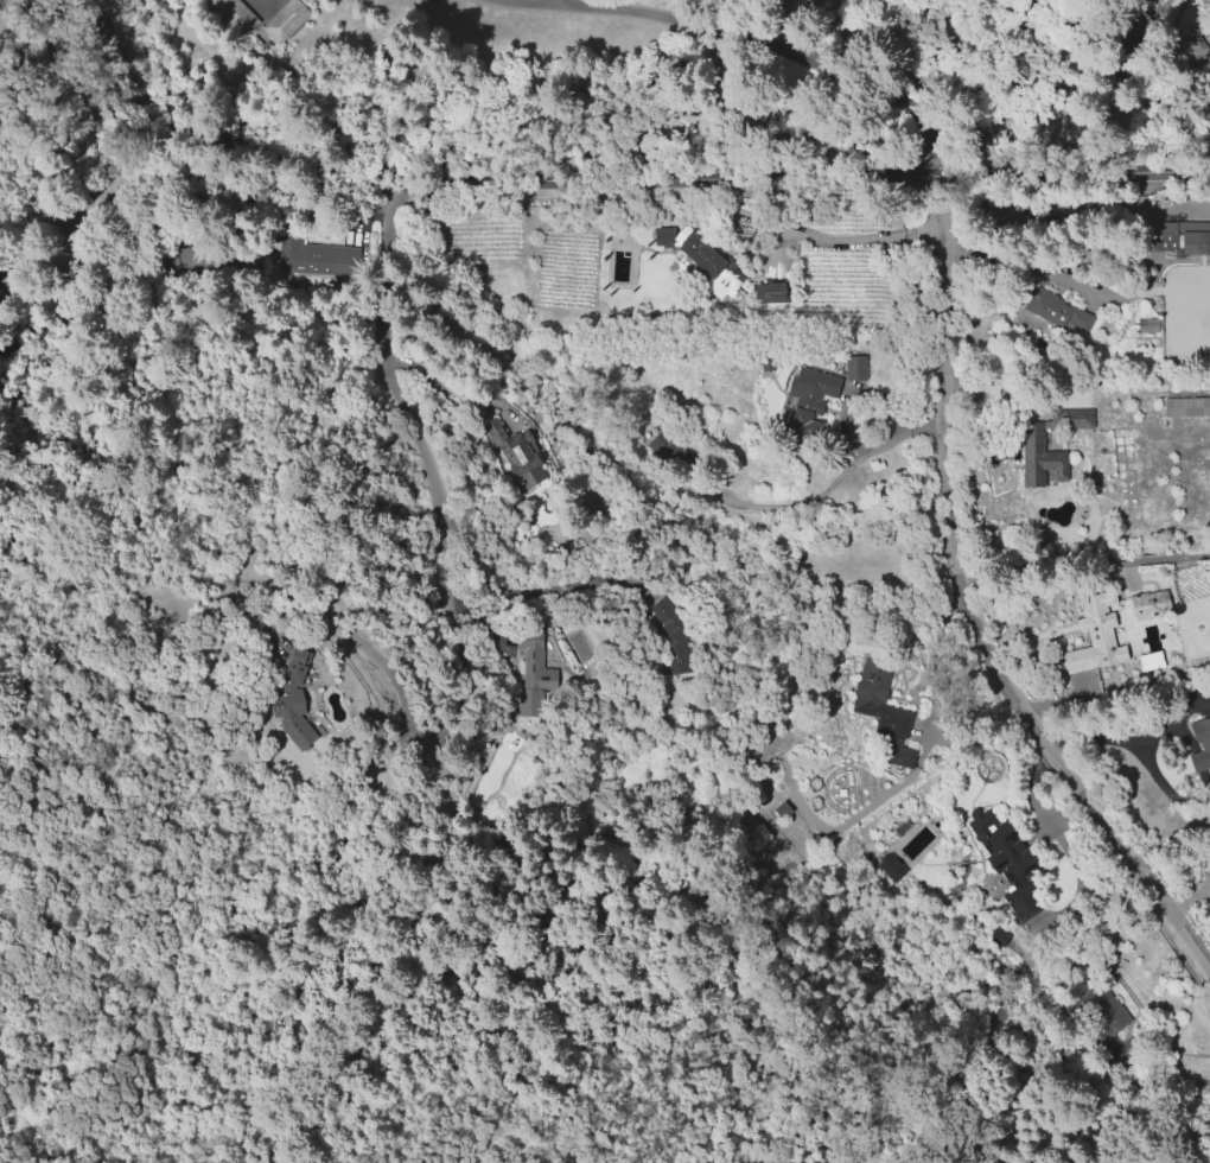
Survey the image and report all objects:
road: (553, 0)
building: (266, 24)
road: (765, 34)
building: (1190, 49)
building: (42, 57)
road: (607, 177)
road: (842, 235)
building: (664, 237)
building: (1183, 237)
road: (1145, 249)
building: (317, 256)
building: (715, 267)
building: (769, 290)
building: (1039, 303)
building: (1148, 325)
building: (854, 367)
building: (821, 390)
building: (1189, 409)
building: (801, 422)
building: (665, 446)
building: (516, 455)
building: (1042, 459)
road: (549, 586)
building: (1151, 605)
road: (968, 609)
building: (1102, 623)
building: (671, 635)
building: (537, 671)
building: (294, 698)
building: (897, 724)
road: (415, 736)
road: (1112, 738)
building: (1201, 745)
building: (894, 751)
building: (1005, 853)
building: (891, 866)
road: (1186, 898)
building: (1104, 1006)

